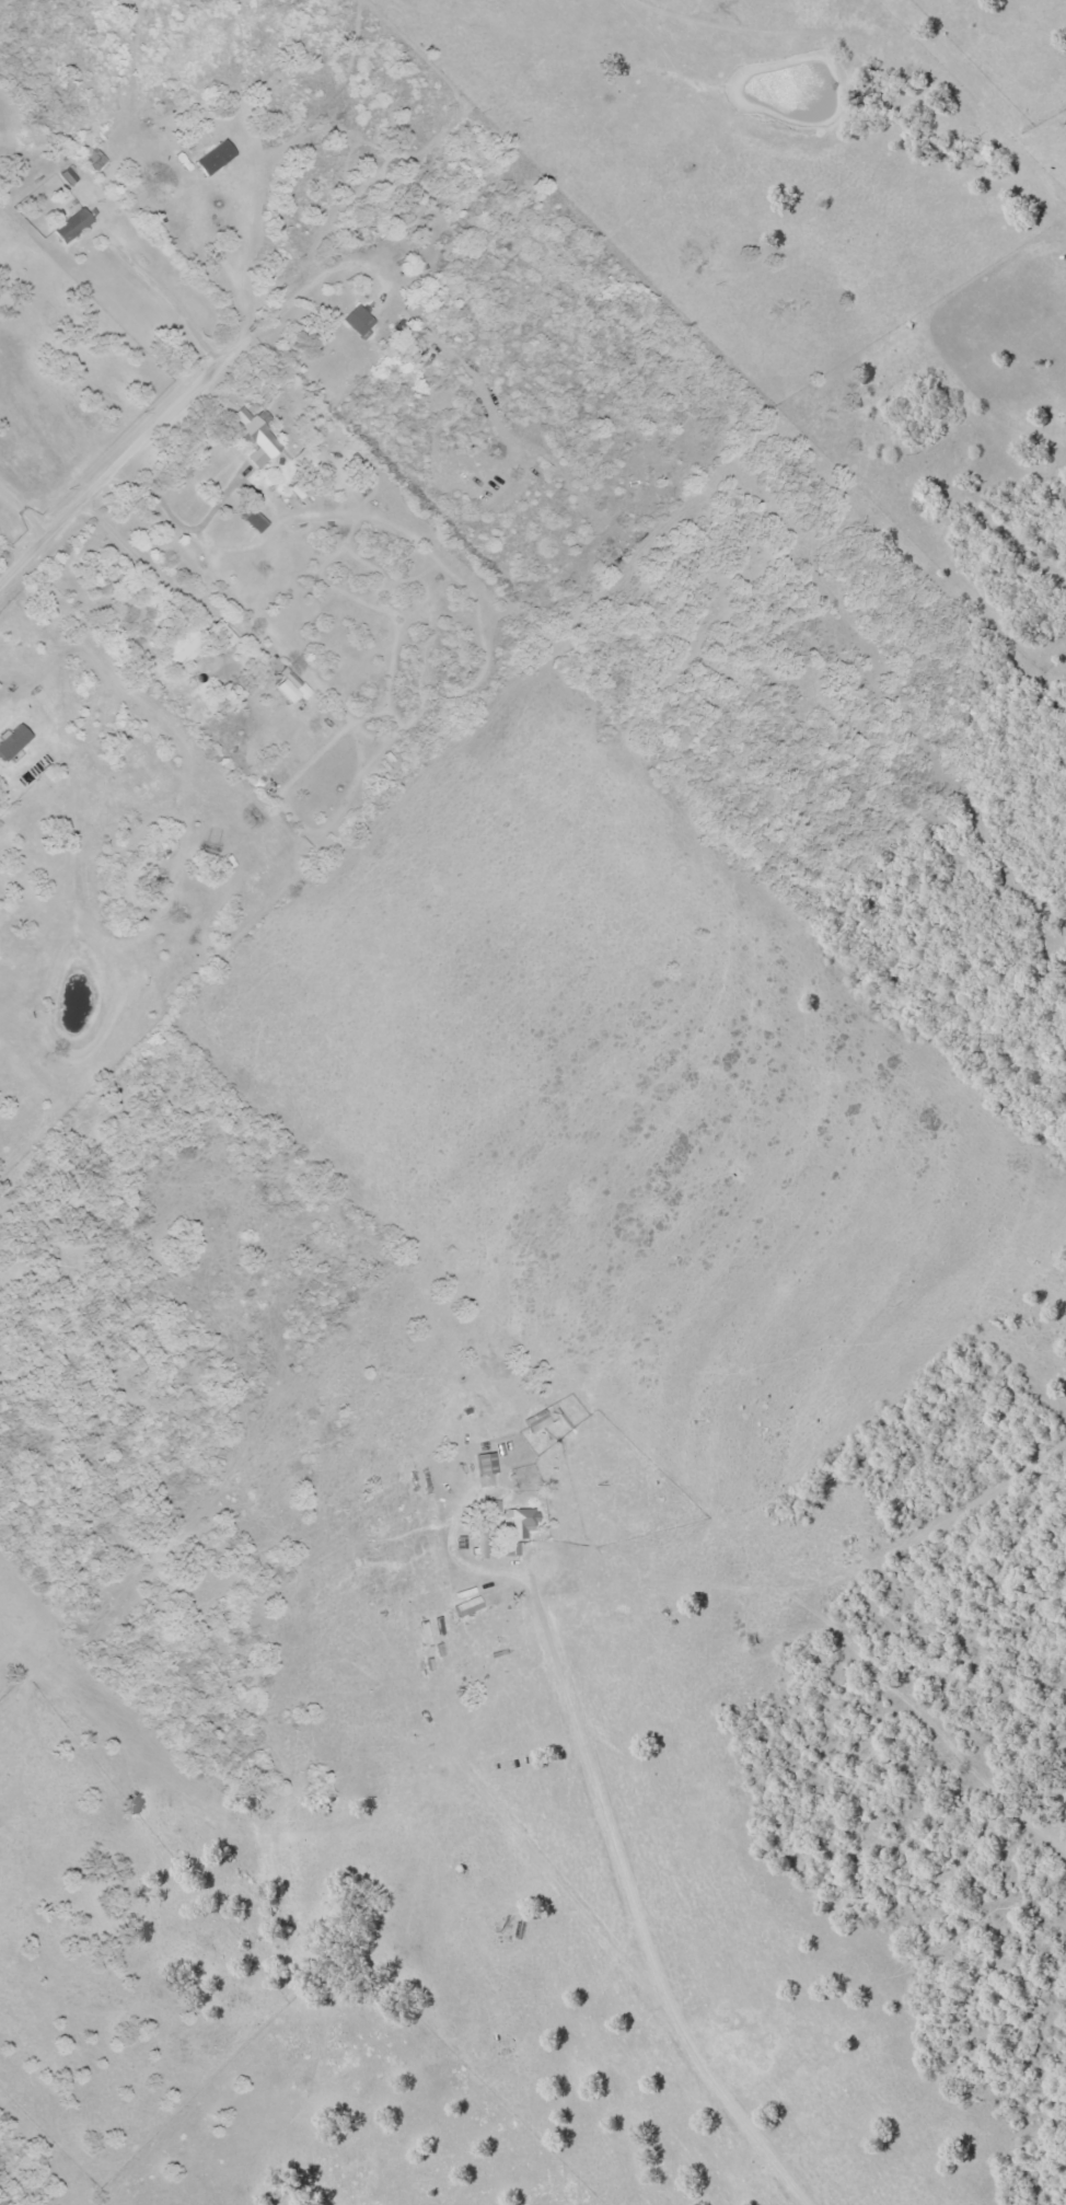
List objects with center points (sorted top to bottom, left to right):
building: (213, 157)
building: (94, 159)
building: (71, 224)
building: (358, 322)
building: (255, 437)
road: (107, 466)
building: (220, 633)
building: (181, 645)
building: (290, 686)
building: (535, 1420)
building: (484, 1462)
building: (520, 1521)
building: (479, 1539)
building: (510, 1548)
building: (466, 1605)
road: (641, 1915)

